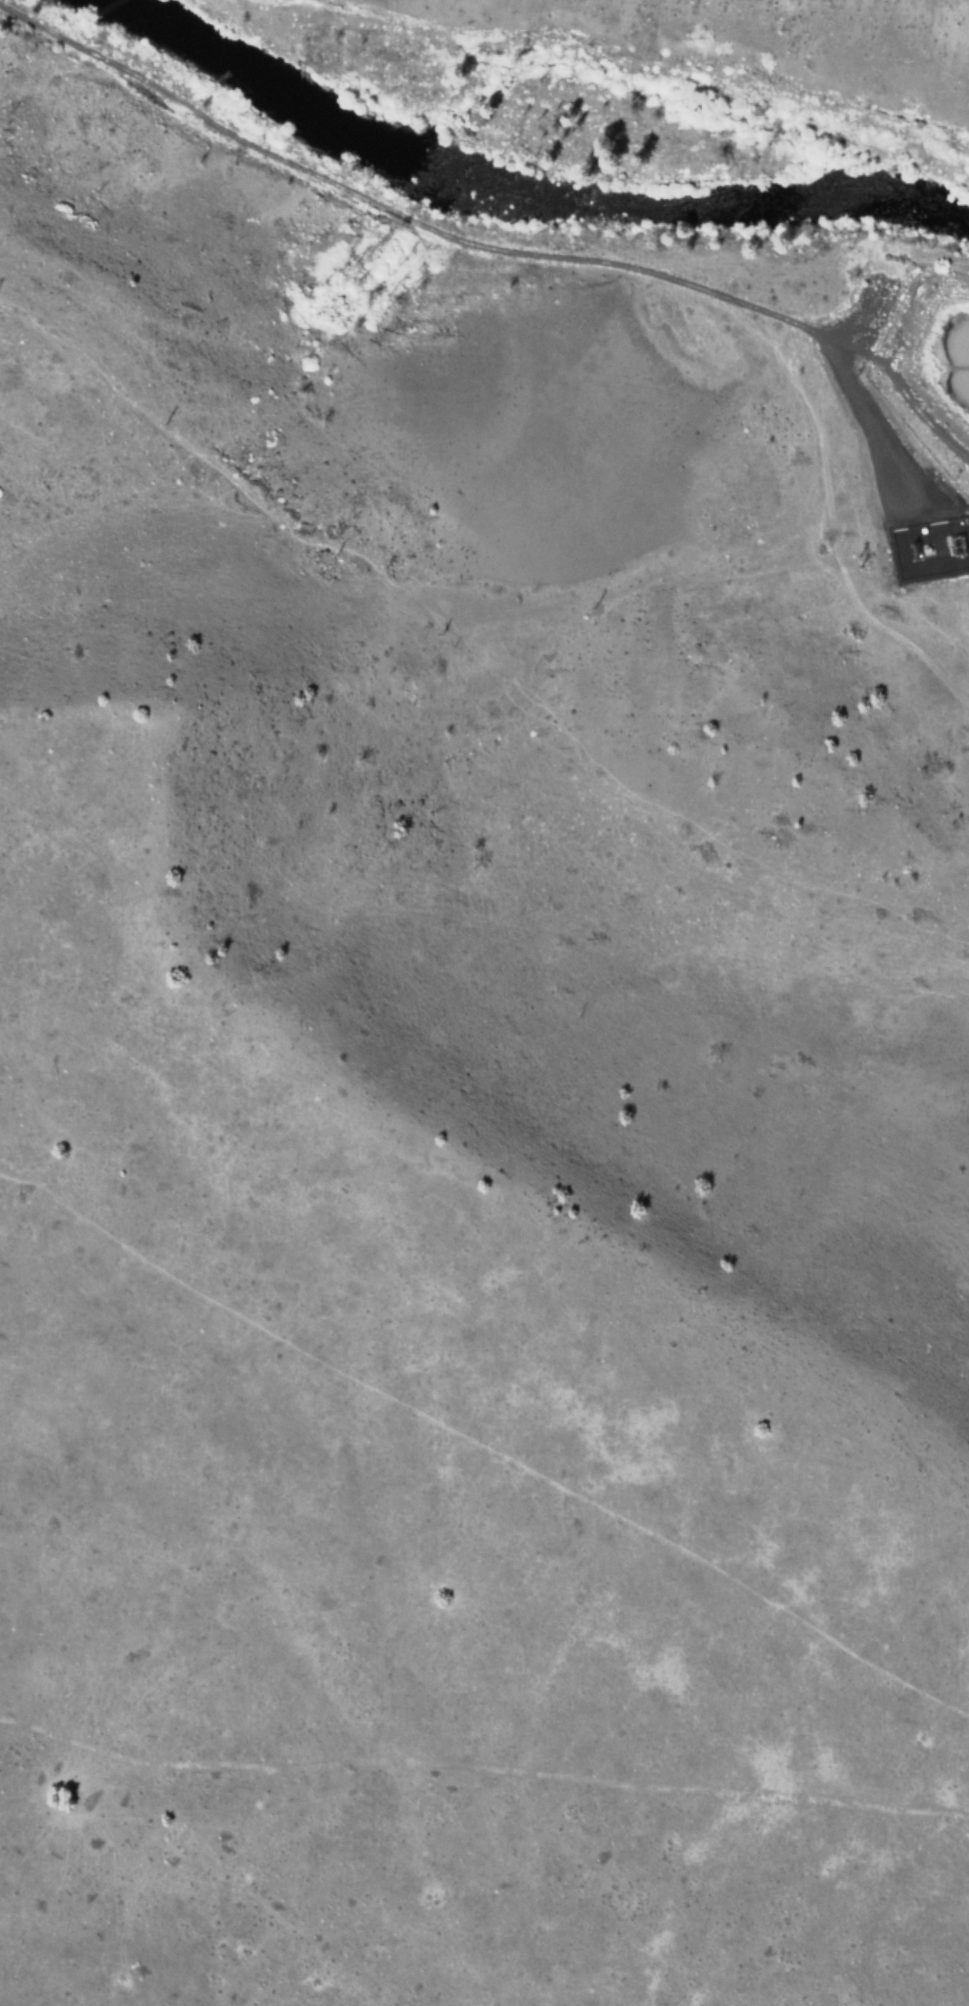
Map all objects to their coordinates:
river: (516, 201)
road: (388, 212)
power substation: (931, 548)

